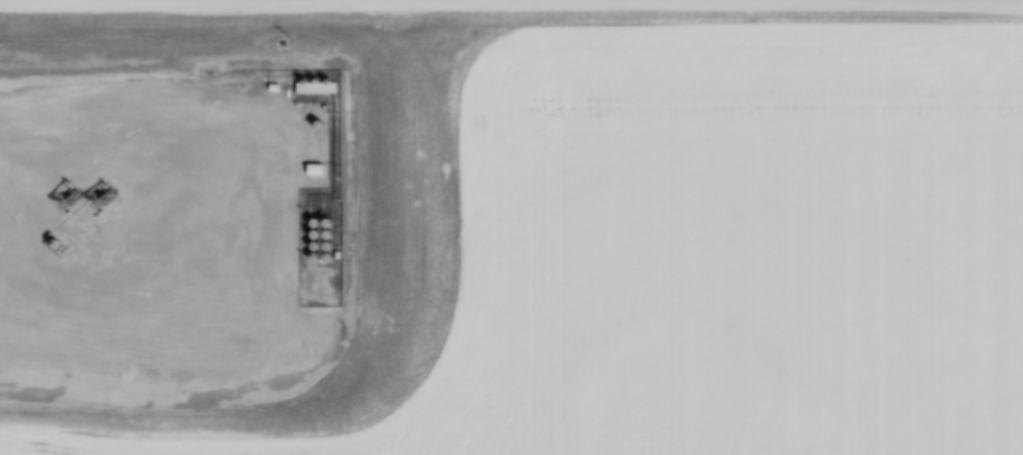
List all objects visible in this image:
road: (511, 3)

